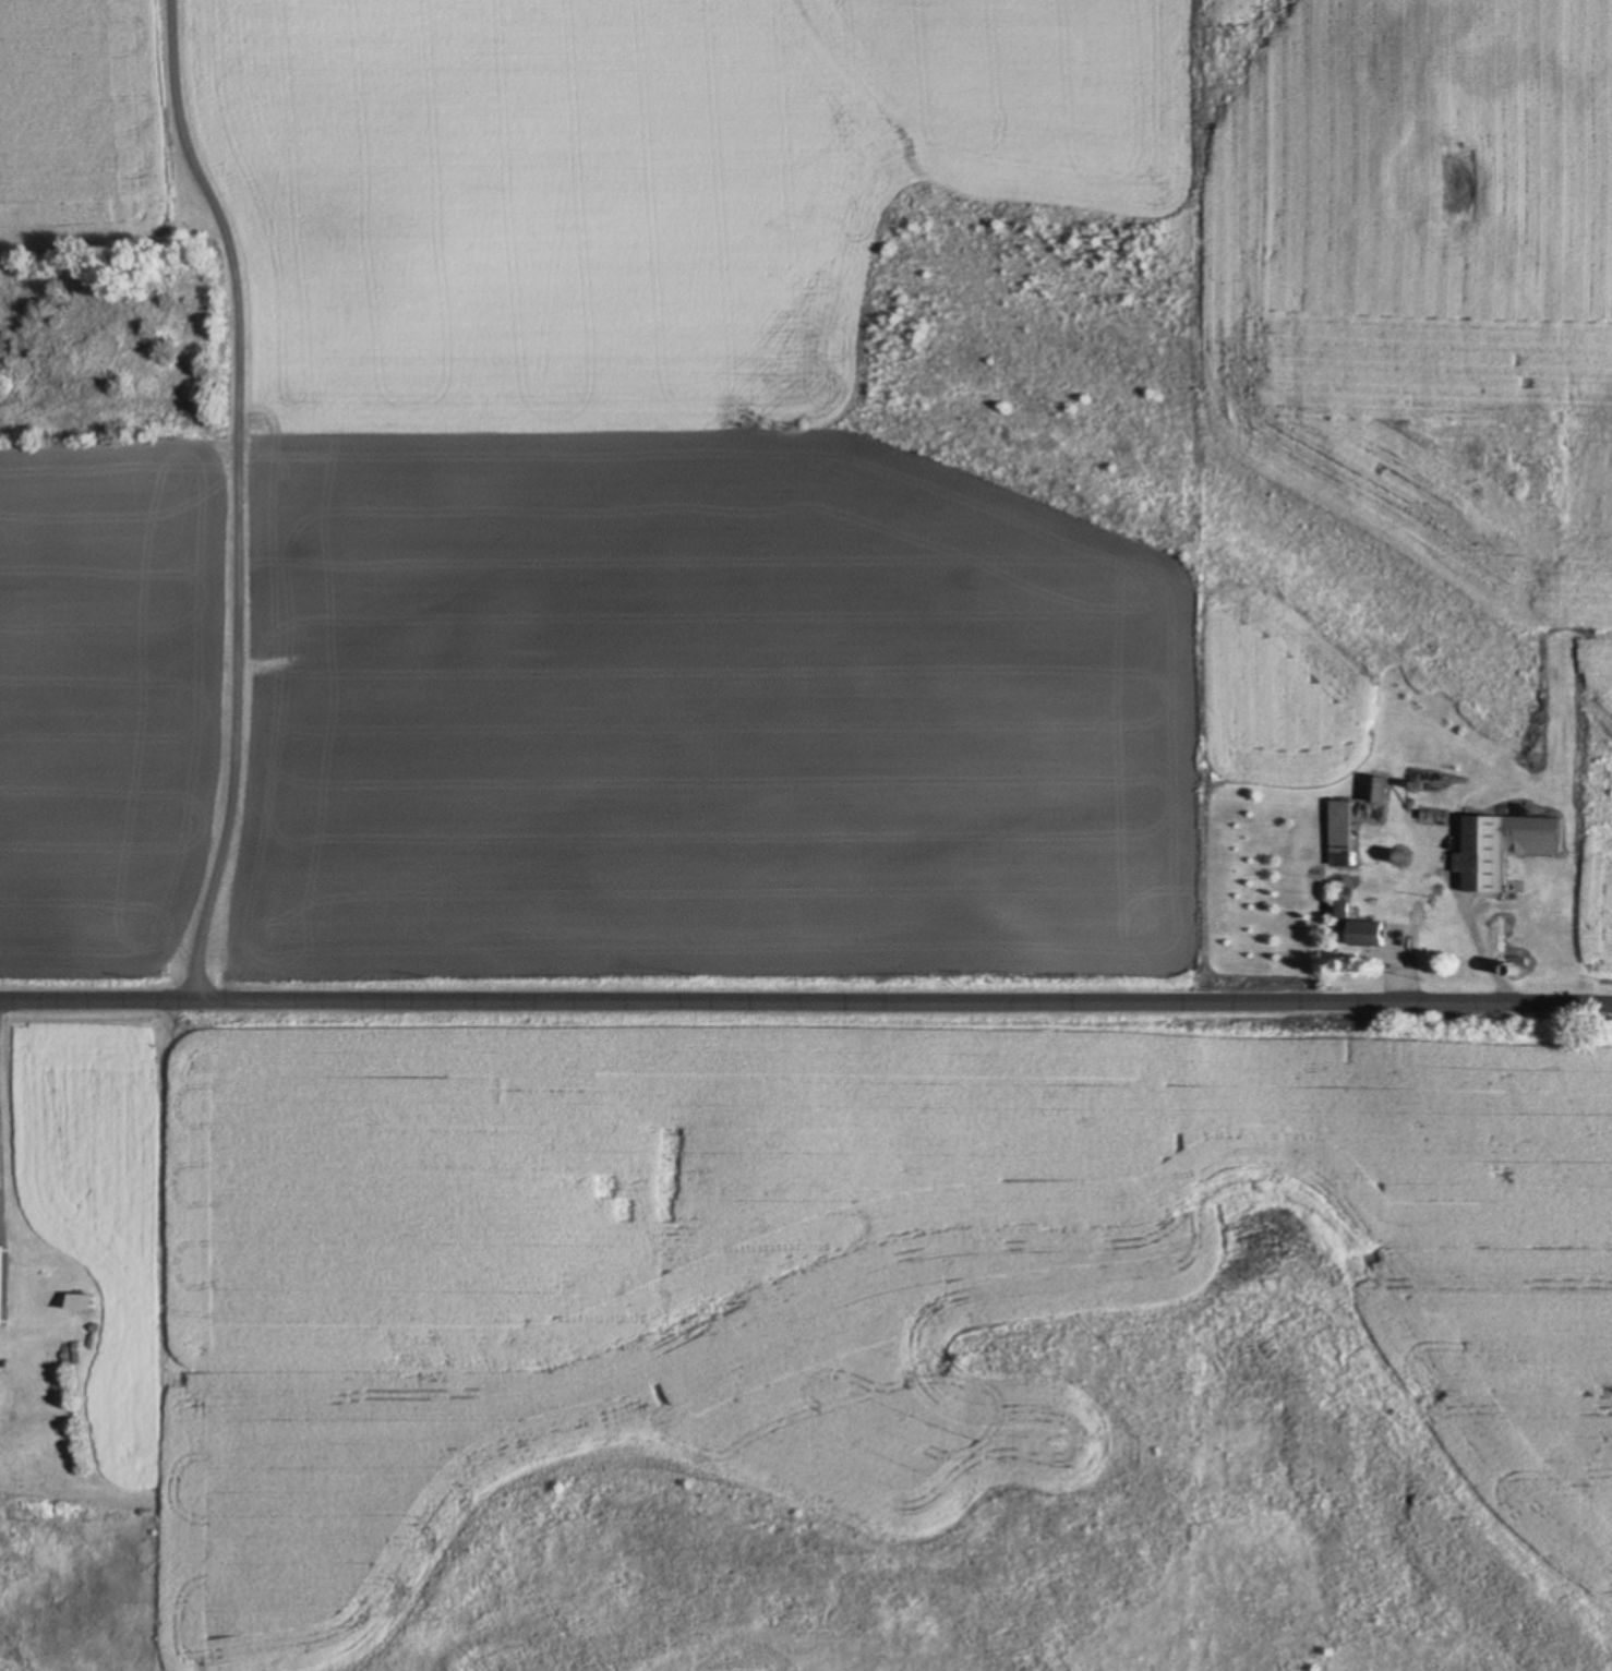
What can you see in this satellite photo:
crop: (756, 467)
road: (233, 500)
building: (1379, 790)
building: (1342, 833)
building: (1501, 847)
building: (1364, 934)
road: (806, 1002)
crop: (829, 1270)
building: (3, 1286)
building: (80, 1301)
crop: (735, 1666)

